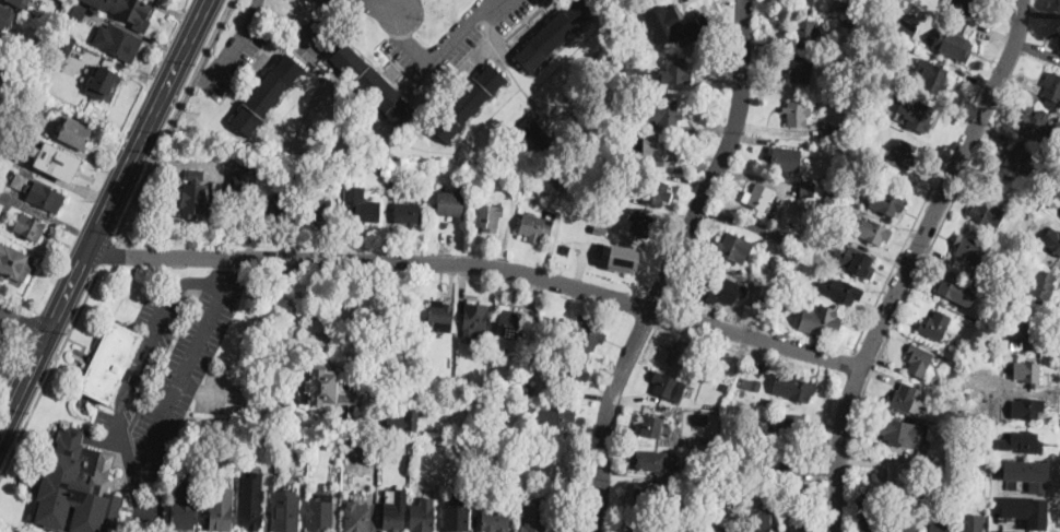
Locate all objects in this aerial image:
building: (805, 1)
building: (20, 2)
building: (851, 2)
building: (893, 3)
building: (962, 3)
road: (376, 5)
road: (400, 5)
building: (126, 10)
road: (254, 10)
road: (322, 10)
building: (79, 11)
building: (4, 16)
building: (668, 21)
building: (848, 23)
road: (404, 27)
building: (907, 27)
building: (806, 32)
road: (307, 33)
building: (554, 35)
parking lot: (313, 38)
building: (951, 38)
road: (449, 39)
building: (1, 42)
building: (118, 43)
building: (63, 48)
building: (1059, 50)
building: (1, 52)
road: (227, 54)
parking lot: (232, 57)
building: (885, 69)
building: (800, 70)
building: (676, 71)
building: (640, 76)
building: (937, 76)
building: (105, 80)
building: (372, 83)
building: (880, 83)
building: (26, 86)
building: (1053, 87)
building: (267, 95)
building: (468, 103)
building: (1025, 106)
building: (663, 111)
building: (797, 114)
building: (26, 117)
building: (617, 117)
building: (918, 117)
road: (170, 118)
building: (1035, 125)
building: (832, 130)
building: (73, 133)
building: (539, 134)
building: (612, 138)
building: (839, 144)
building: (660, 152)
building: (600, 153)
building: (904, 155)
building: (786, 157)
building: (825, 158)
building: (57, 161)
building: (243, 161)
building: (1022, 161)
road: (126, 166)
building: (376, 169)
building: (334, 170)
building: (291, 172)
building: (519, 177)
building: (562, 179)
building: (242, 182)
building: (389, 184)
building: (506, 185)
building: (806, 189)
building: (39, 192)
building: (658, 193)
building: (195, 196)
building: (757, 198)
building: (832, 201)
building: (244, 202)
building: (1053, 202)
building: (887, 203)
building: (450, 204)
building: (1, 205)
building: (279, 208)
building: (317, 209)
building: (594, 210)
building: (804, 210)
building: (367, 211)
building: (987, 212)
building: (408, 213)
building: (488, 218)
building: (640, 224)
building: (30, 227)
building: (535, 227)
building: (815, 227)
building: (599, 229)
building: (873, 232)
building: (786, 239)
building: (1052, 239)
building: (731, 249)
building: (968, 249)
road: (107, 250)
building: (620, 257)
road: (911, 261)
road: (481, 262)
building: (14, 263)
building: (858, 263)
road: (671, 264)
road: (221, 268)
road: (890, 270)
building: (789, 285)
building: (1044, 287)
building: (956, 289)
building: (305, 291)
building: (840, 291)
building: (709, 292)
road: (17, 303)
building: (759, 304)
building: (782, 306)
building: (440, 316)
building: (535, 318)
road: (52, 320)
road: (656, 320)
building: (824, 320)
road: (893, 320)
building: (473, 321)
road: (390, 322)
road: (23, 323)
building: (509, 323)
road: (31, 324)
building: (935, 326)
road: (681, 327)
road: (14, 332)
building: (589, 338)
building: (1030, 338)
road: (43, 346)
building: (681, 354)
road: (859, 355)
building: (919, 360)
building: (110, 362)
building: (737, 364)
road: (51, 369)
building: (1027, 373)
building: (573, 376)
parking lot: (168, 378)
road: (23, 383)
building: (461, 385)
building: (751, 385)
building: (508, 386)
building: (666, 386)
building: (527, 389)
building: (723, 389)
building: (798, 389)
building: (328, 390)
building: (741, 391)
building: (906, 399)
building: (1028, 407)
building: (555, 418)
building: (405, 421)
building: (791, 424)
building: (363, 426)
building: (652, 427)
building: (525, 433)
building: (899, 433)
building: (213, 436)
building: (749, 438)
building: (384, 440)
building: (1022, 442)
building: (200, 456)
building: (928, 457)
building: (794, 460)
building: (647, 461)
building: (732, 470)
building: (1027, 472)
building: (875, 475)
building: (735, 483)
building: (777, 485)
building: (985, 485)
building: (78, 487)
building: (798, 490)
building: (647, 497)
road: (1055, 498)
road: (138, 501)
building: (692, 508)
building: (221, 509)
building: (1026, 509)
building: (250, 511)
building: (286, 511)
building: (320, 512)
building: (534, 512)
building: (184, 513)
building: (458, 513)
building: (422, 515)
building: (356, 517)
building: (393, 517)
building: (495, 519)
building: (757, 522)
building: (971, 522)
road: (140, 524)
building: (872, 524)
building: (906, 527)
building: (716, 528)
building: (940, 528)
building: (801, 529)
building: (634, 531)
building: (1015, 531)

